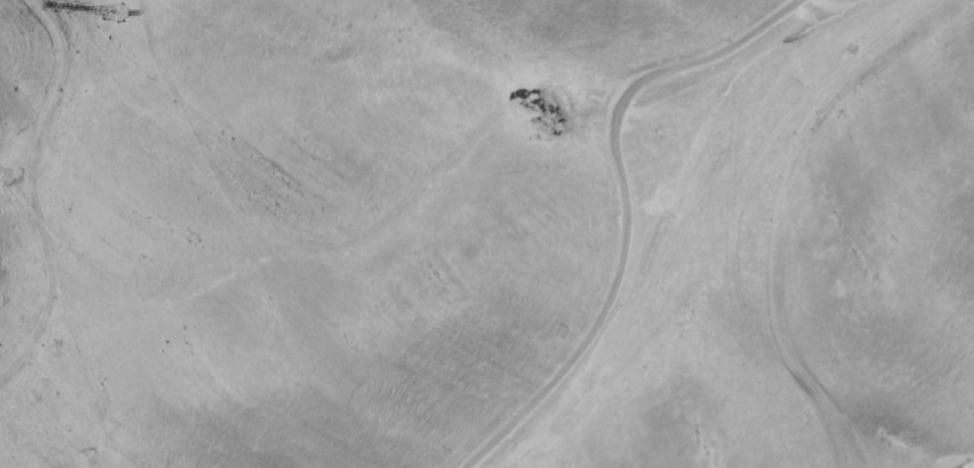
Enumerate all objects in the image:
power tower: (116, 14)
road: (627, 212)

